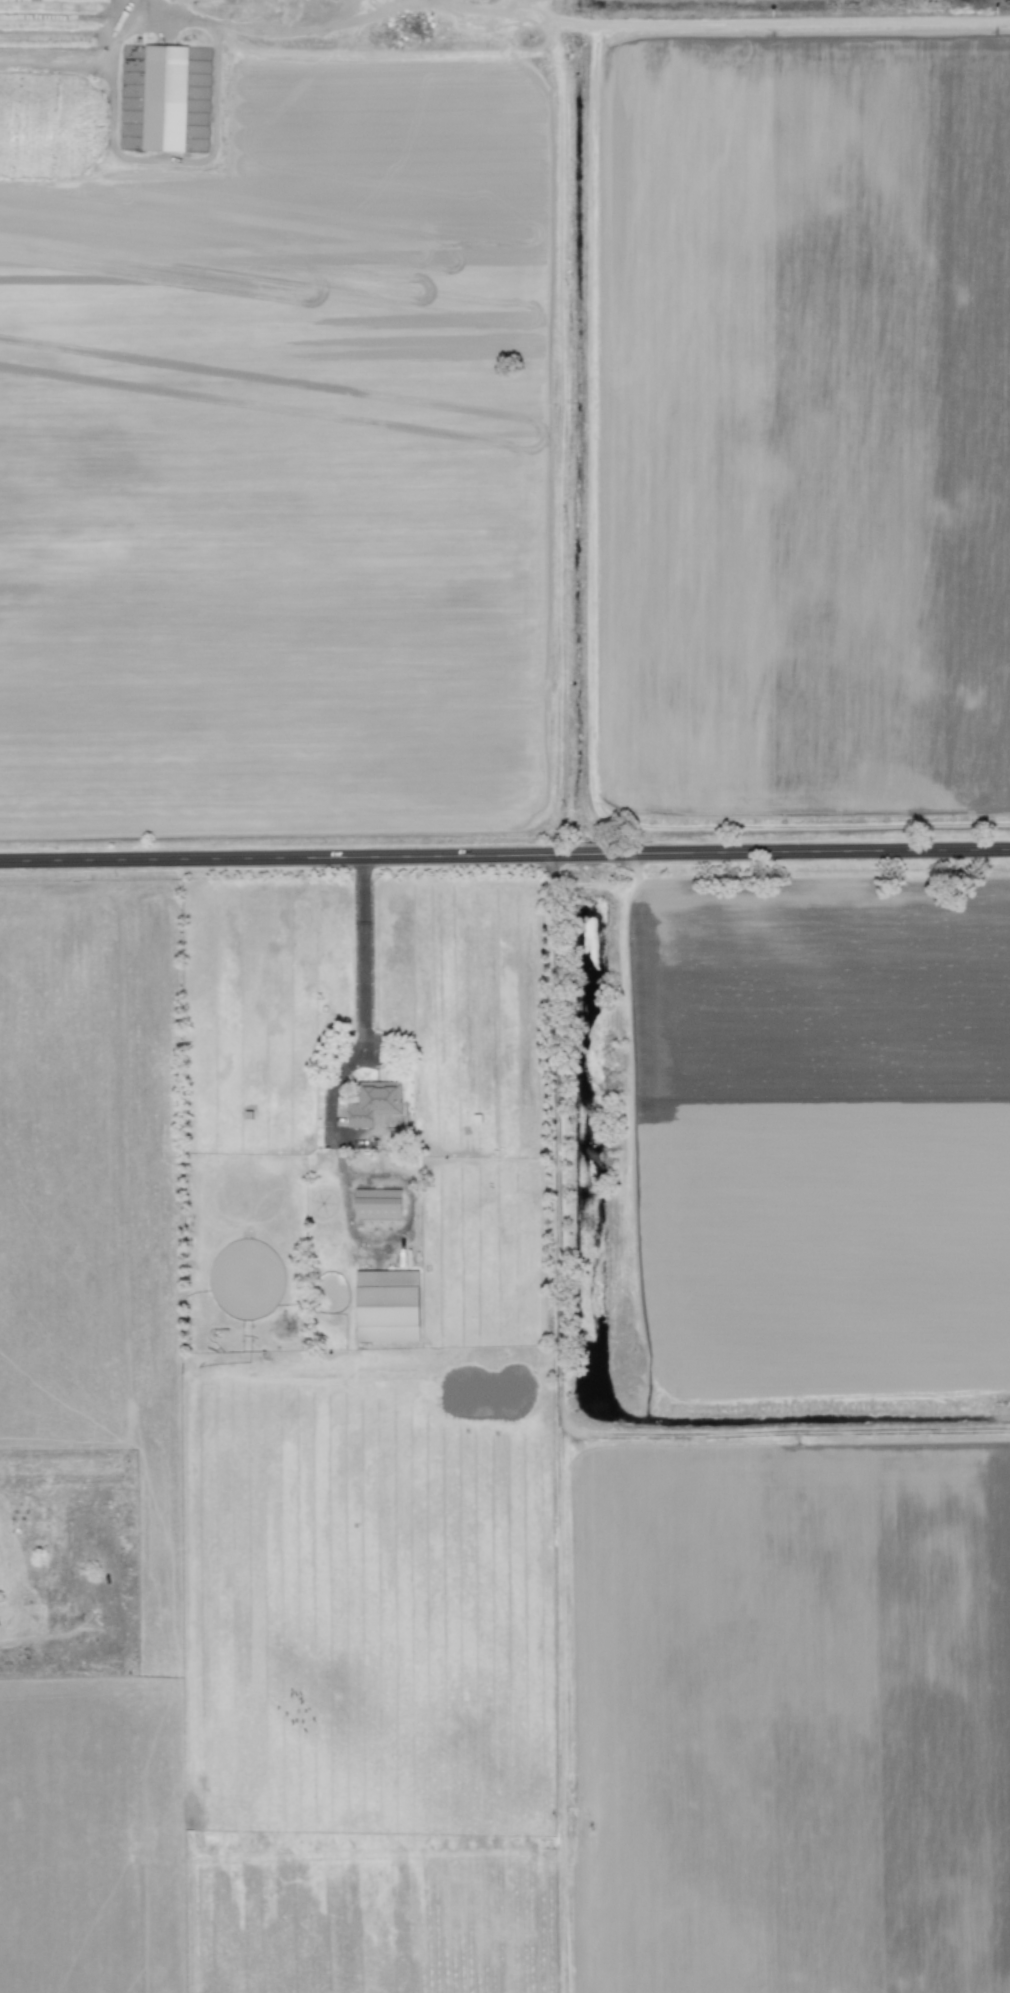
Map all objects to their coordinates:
road: (107, 25)
building: (163, 98)
road: (504, 858)
road: (361, 952)
building: (374, 1103)
building: (377, 1204)
building: (388, 1306)

